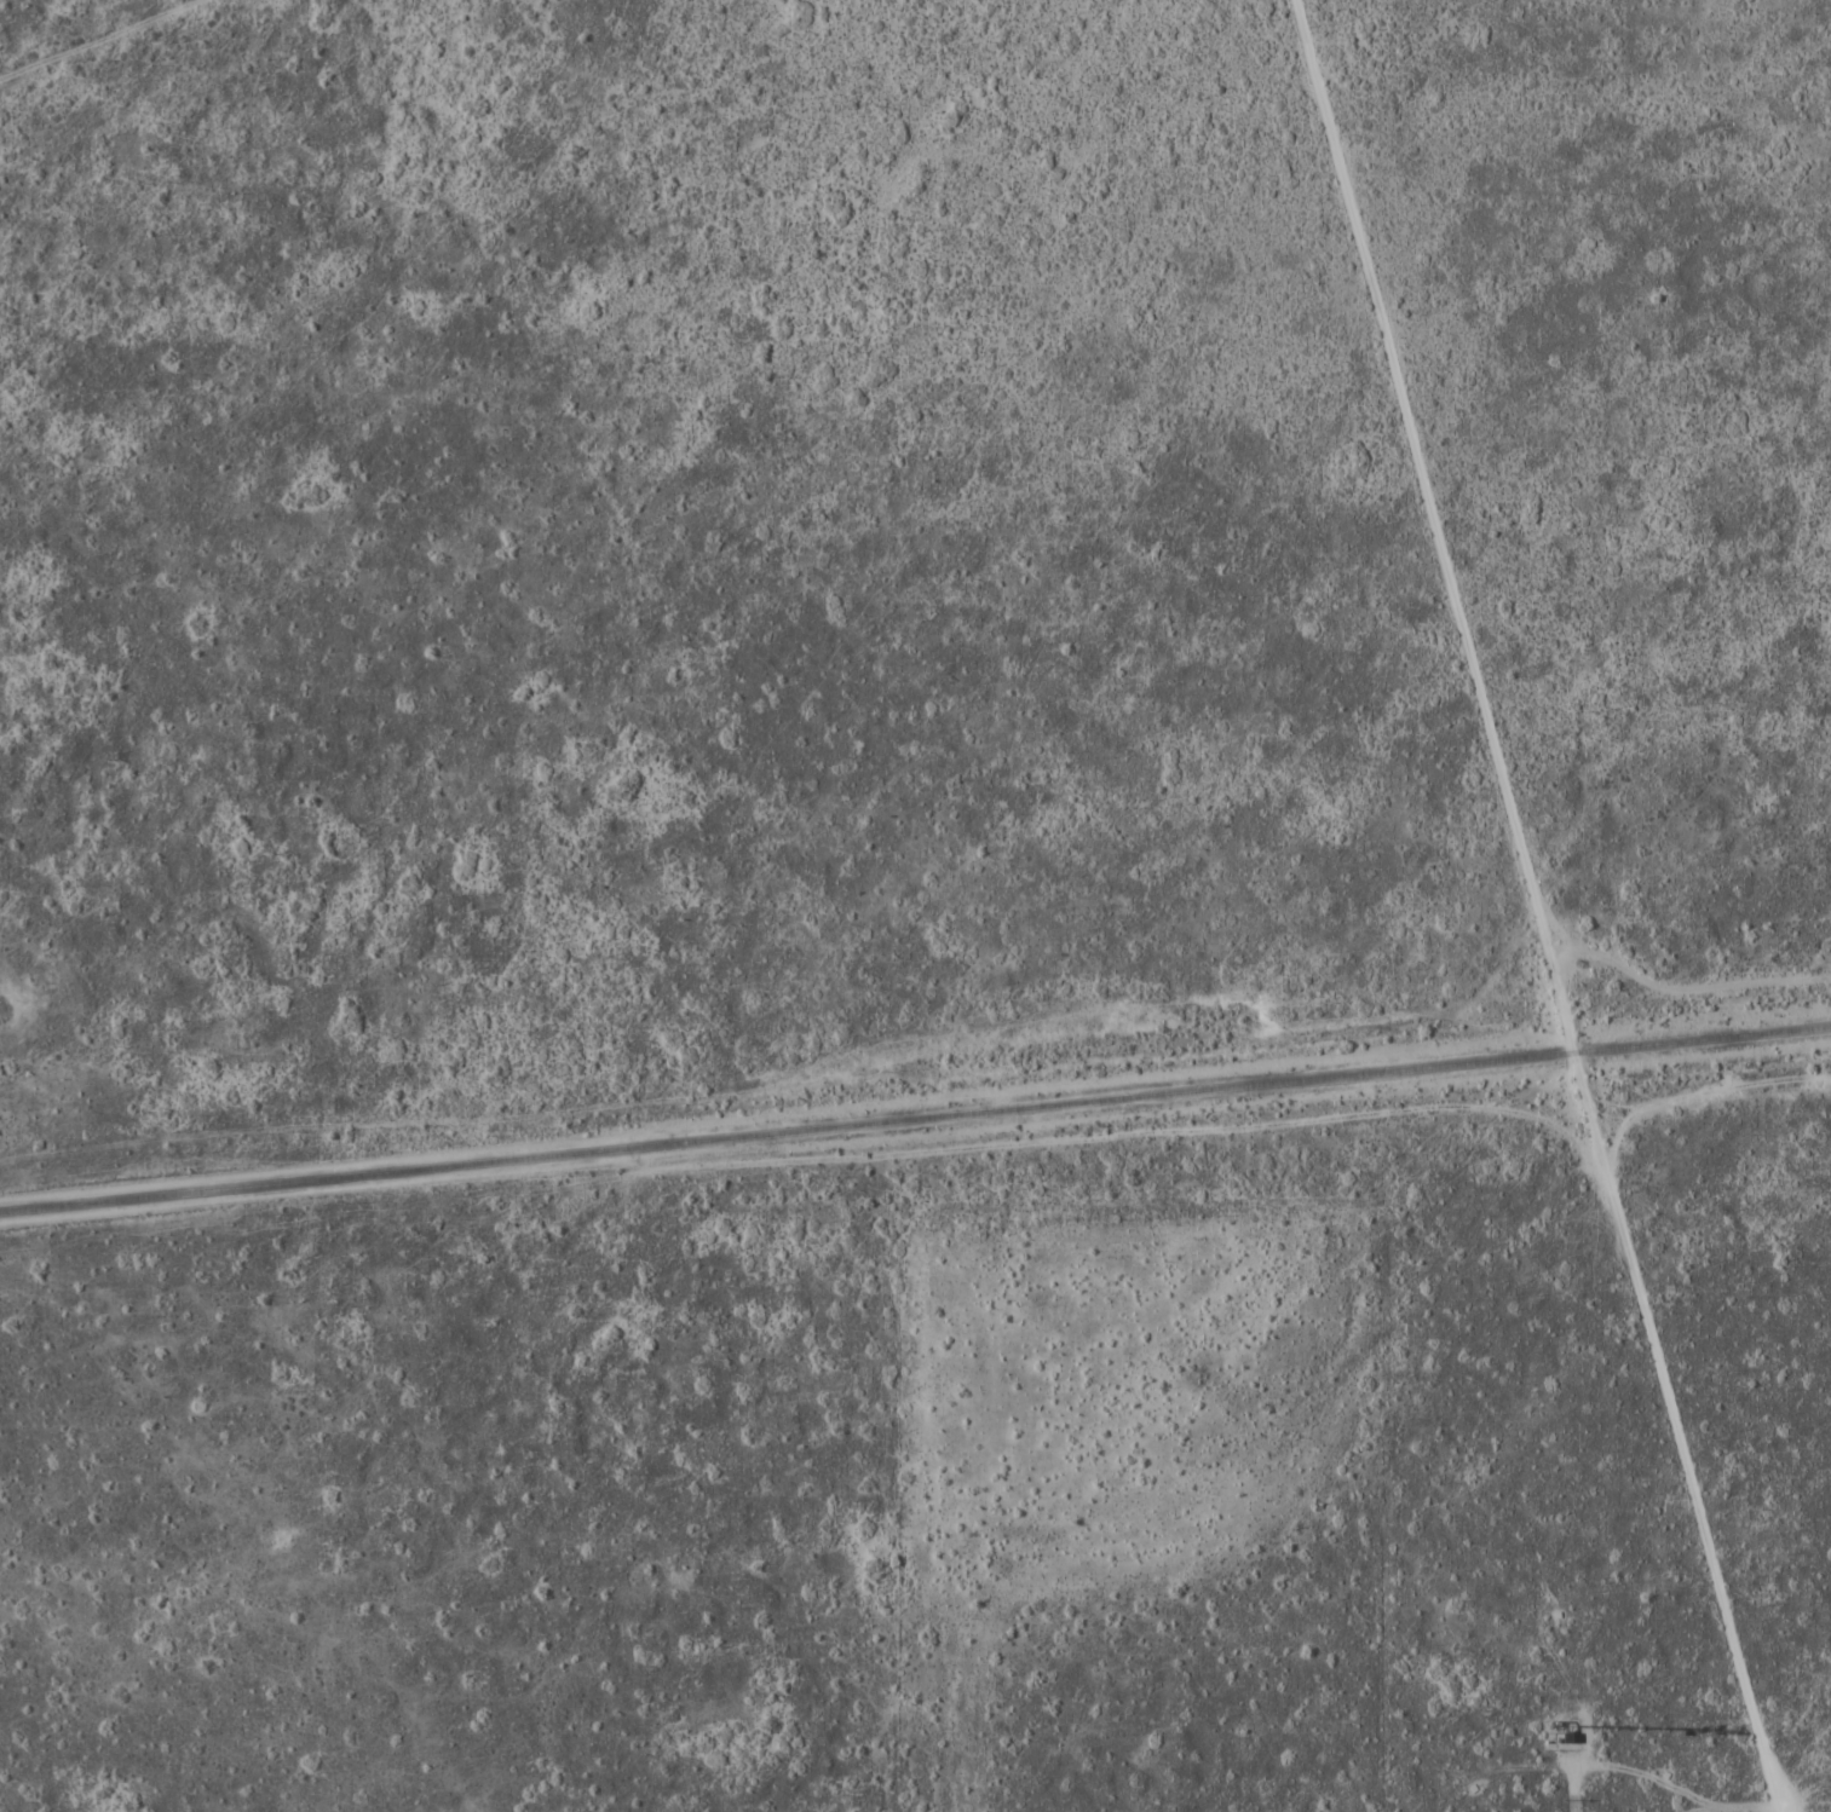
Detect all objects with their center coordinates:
road: (1535, 906)
railway: (915, 1116)

